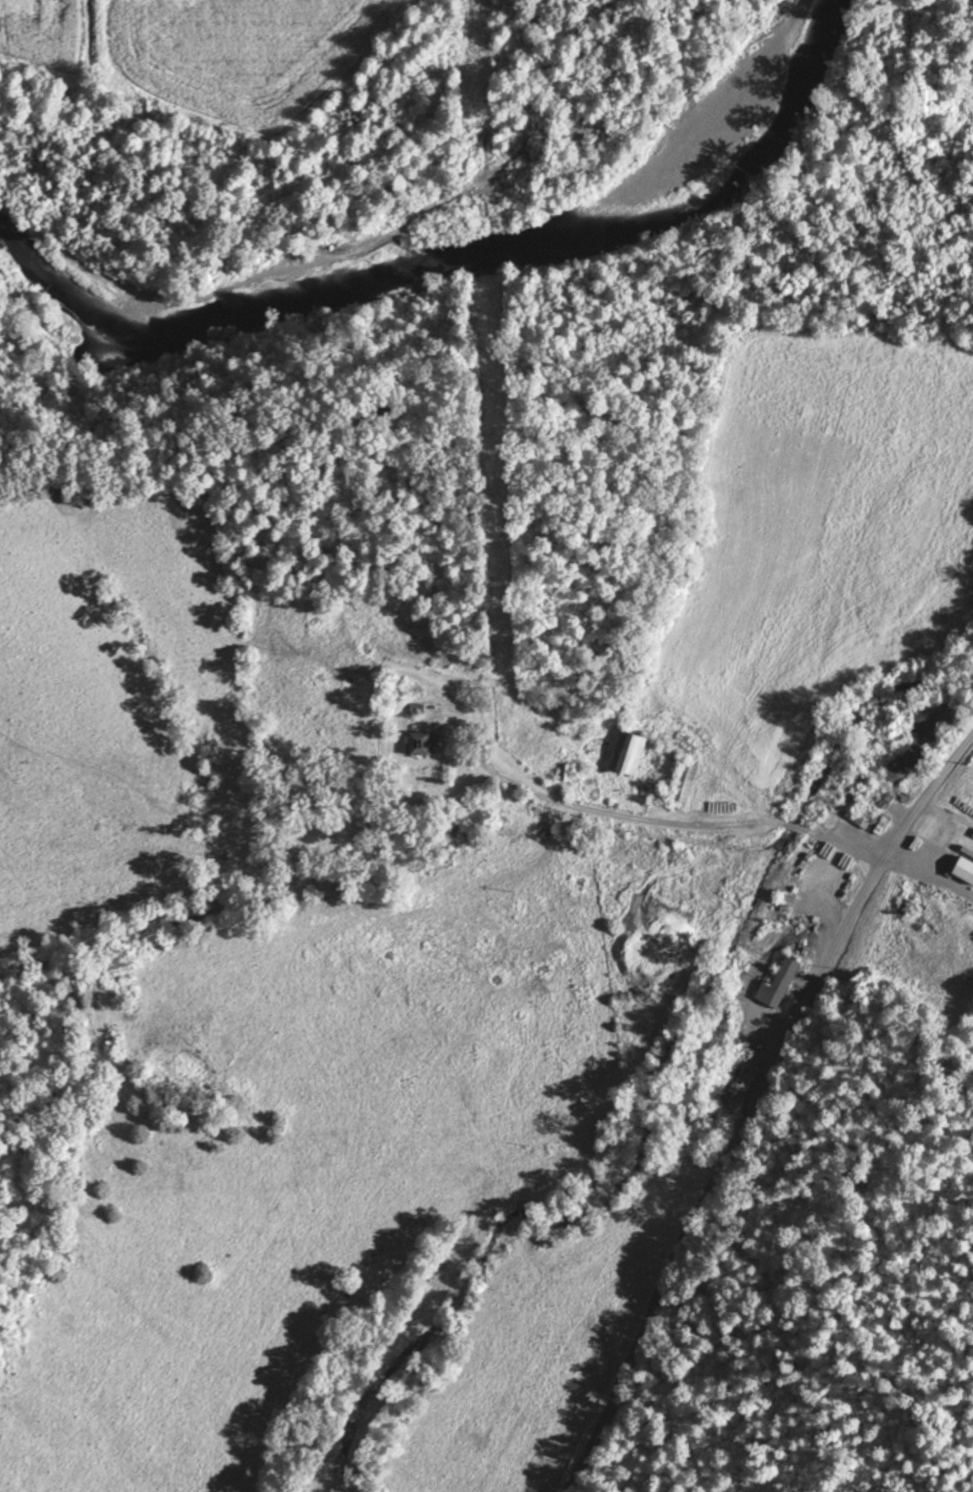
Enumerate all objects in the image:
river: (446, 270)
building: (421, 743)
building: (626, 751)
building: (566, 772)
building: (686, 781)
building: (965, 869)
building: (779, 983)
road: (760, 1107)

